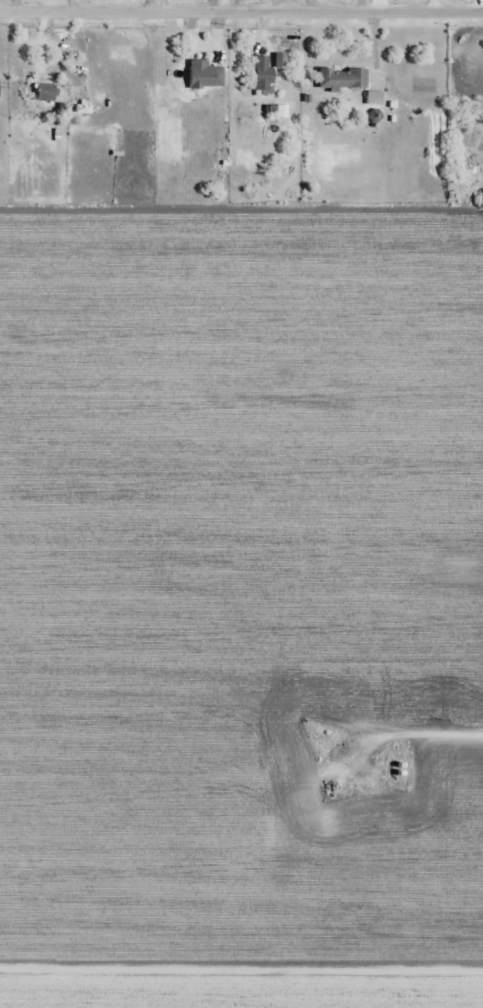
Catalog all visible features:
road: (241, 14)
building: (263, 74)
building: (205, 75)
building: (342, 79)
building: (424, 85)
building: (45, 93)
building: (374, 98)
road: (241, 968)

